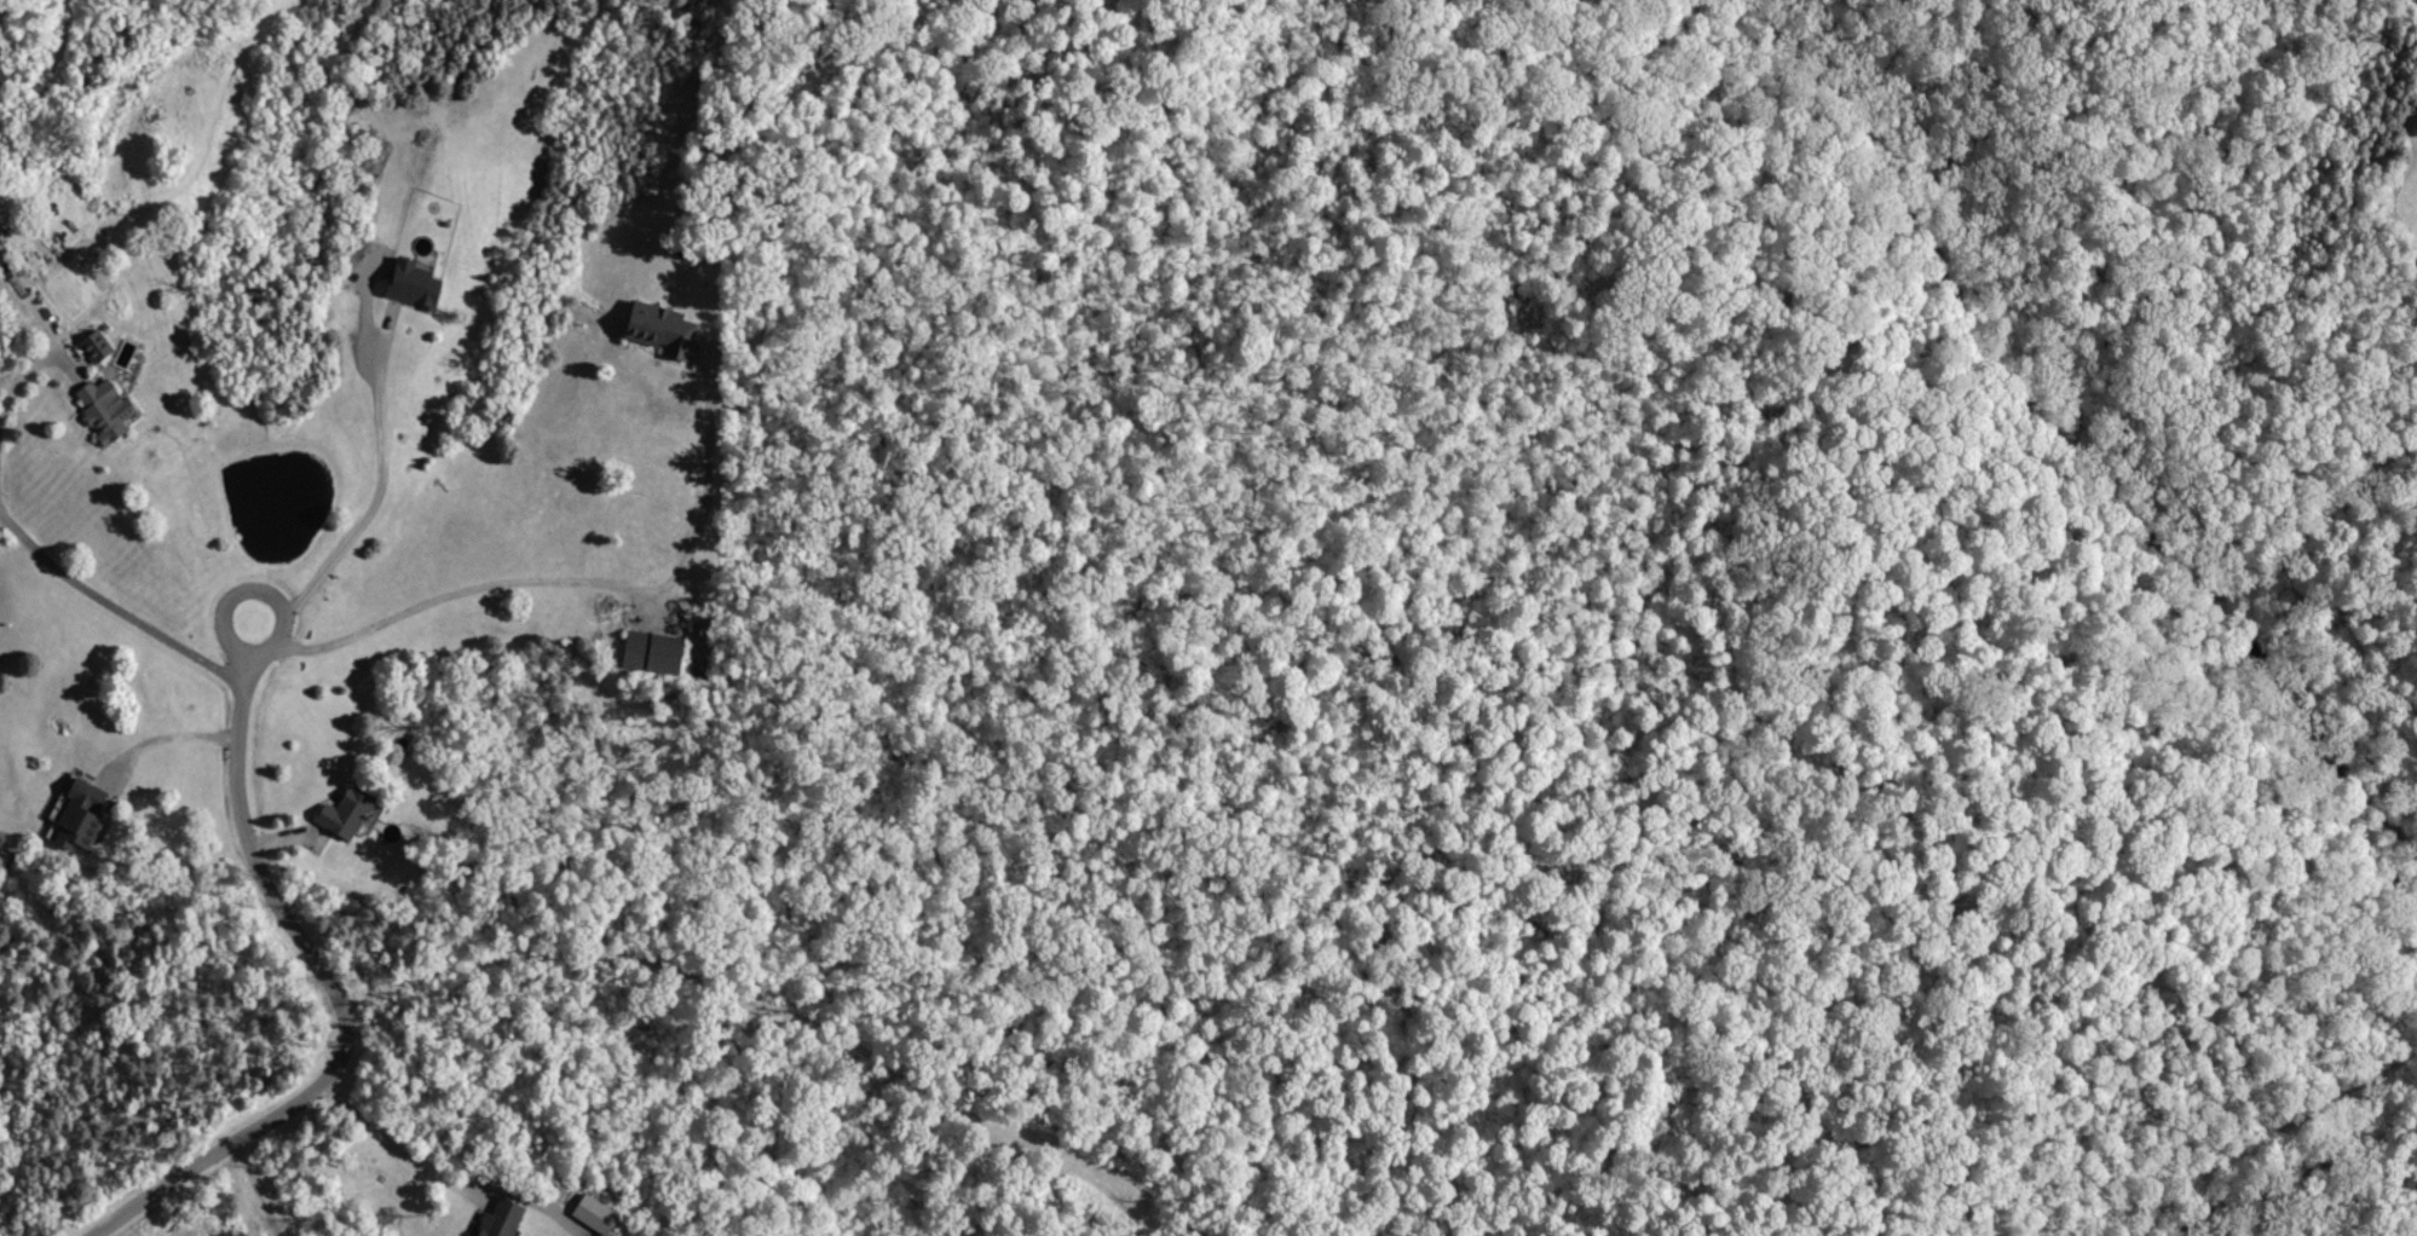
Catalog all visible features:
building: (4, 75)
building: (1, 226)
building: (420, 283)
building: (667, 328)
building: (97, 350)
road: (21, 382)
building: (110, 409)
road: (377, 483)
road: (577, 582)
road: (255, 591)
road: (114, 608)
building: (659, 652)
road: (156, 728)
building: (86, 814)
building: (351, 815)
road: (339, 1003)
road: (440, 1179)
building: (600, 1215)
building: (507, 1219)

